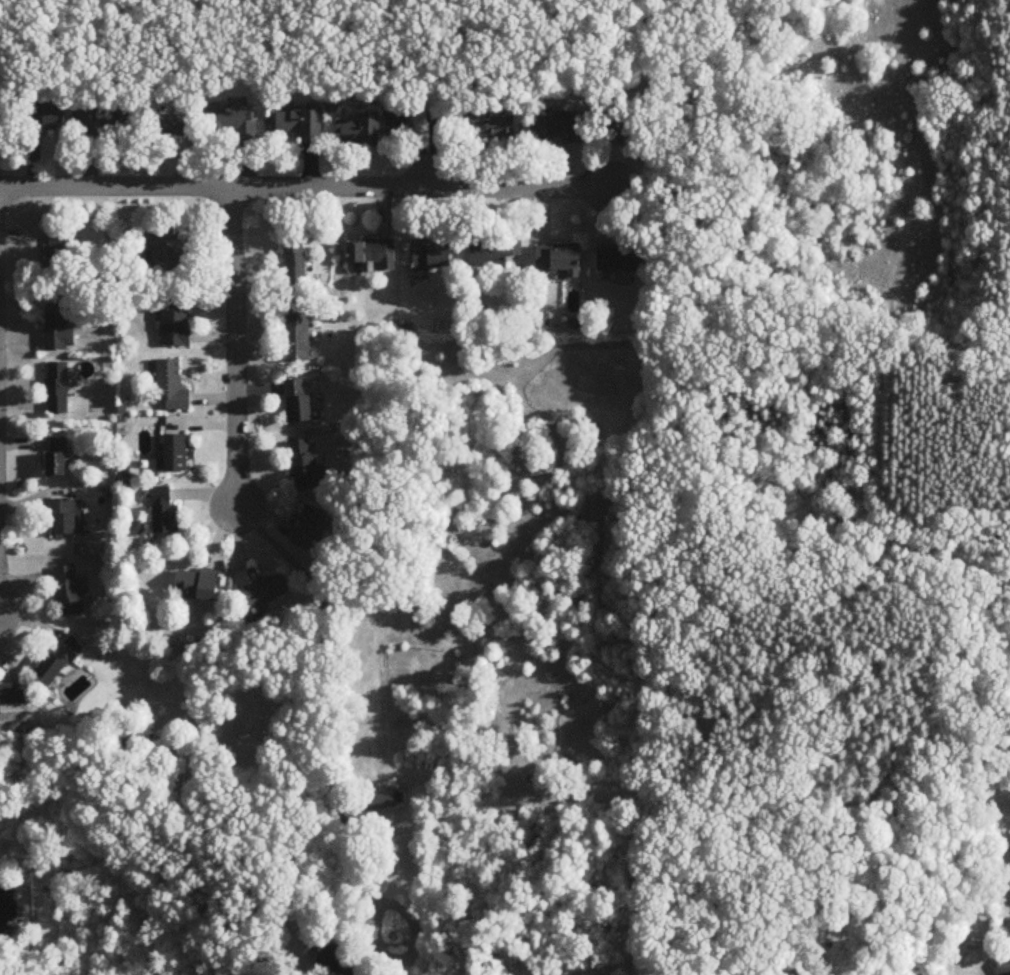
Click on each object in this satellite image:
building: (48, 119)
building: (233, 124)
building: (105, 125)
building: (303, 126)
building: (498, 126)
building: (175, 127)
building: (560, 129)
building: (622, 130)
building: (361, 133)
road: (430, 167)
road: (306, 186)
building: (494, 252)
building: (373, 253)
building: (59, 256)
building: (433, 256)
building: (169, 257)
building: (560, 259)
building: (621, 259)
building: (295, 260)
building: (176, 323)
building: (59, 327)
building: (297, 337)
road: (235, 348)
building: (173, 386)
building: (57, 388)
building: (298, 402)
building: (177, 453)
building: (57, 456)
building: (304, 465)
building: (166, 512)
building: (61, 516)
building: (312, 528)
building: (200, 585)
building: (264, 589)
building: (69, 591)
building: (62, 660)
building: (12, 695)
road: (321, 713)
building: (388, 801)
building: (336, 956)
building: (1004, 966)

